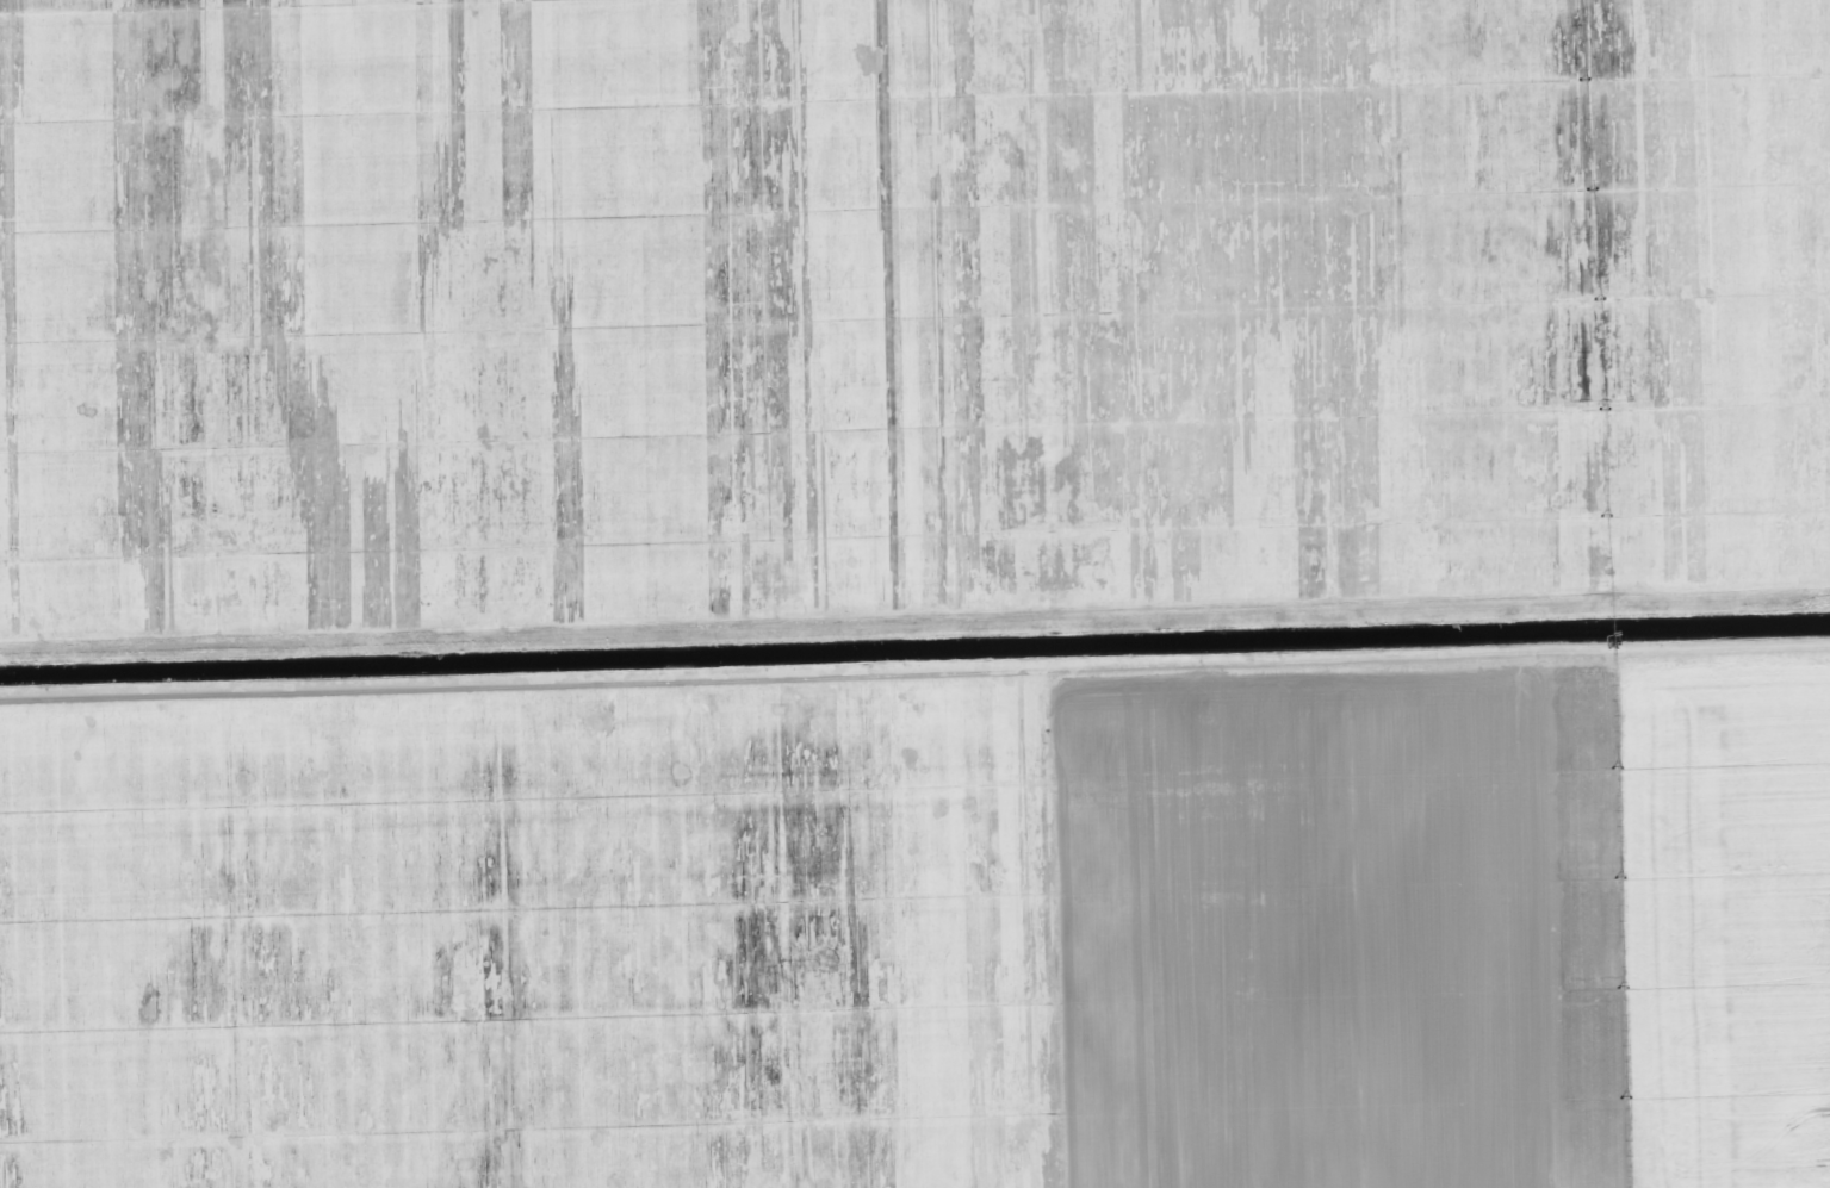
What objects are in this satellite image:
road: (914, 670)

